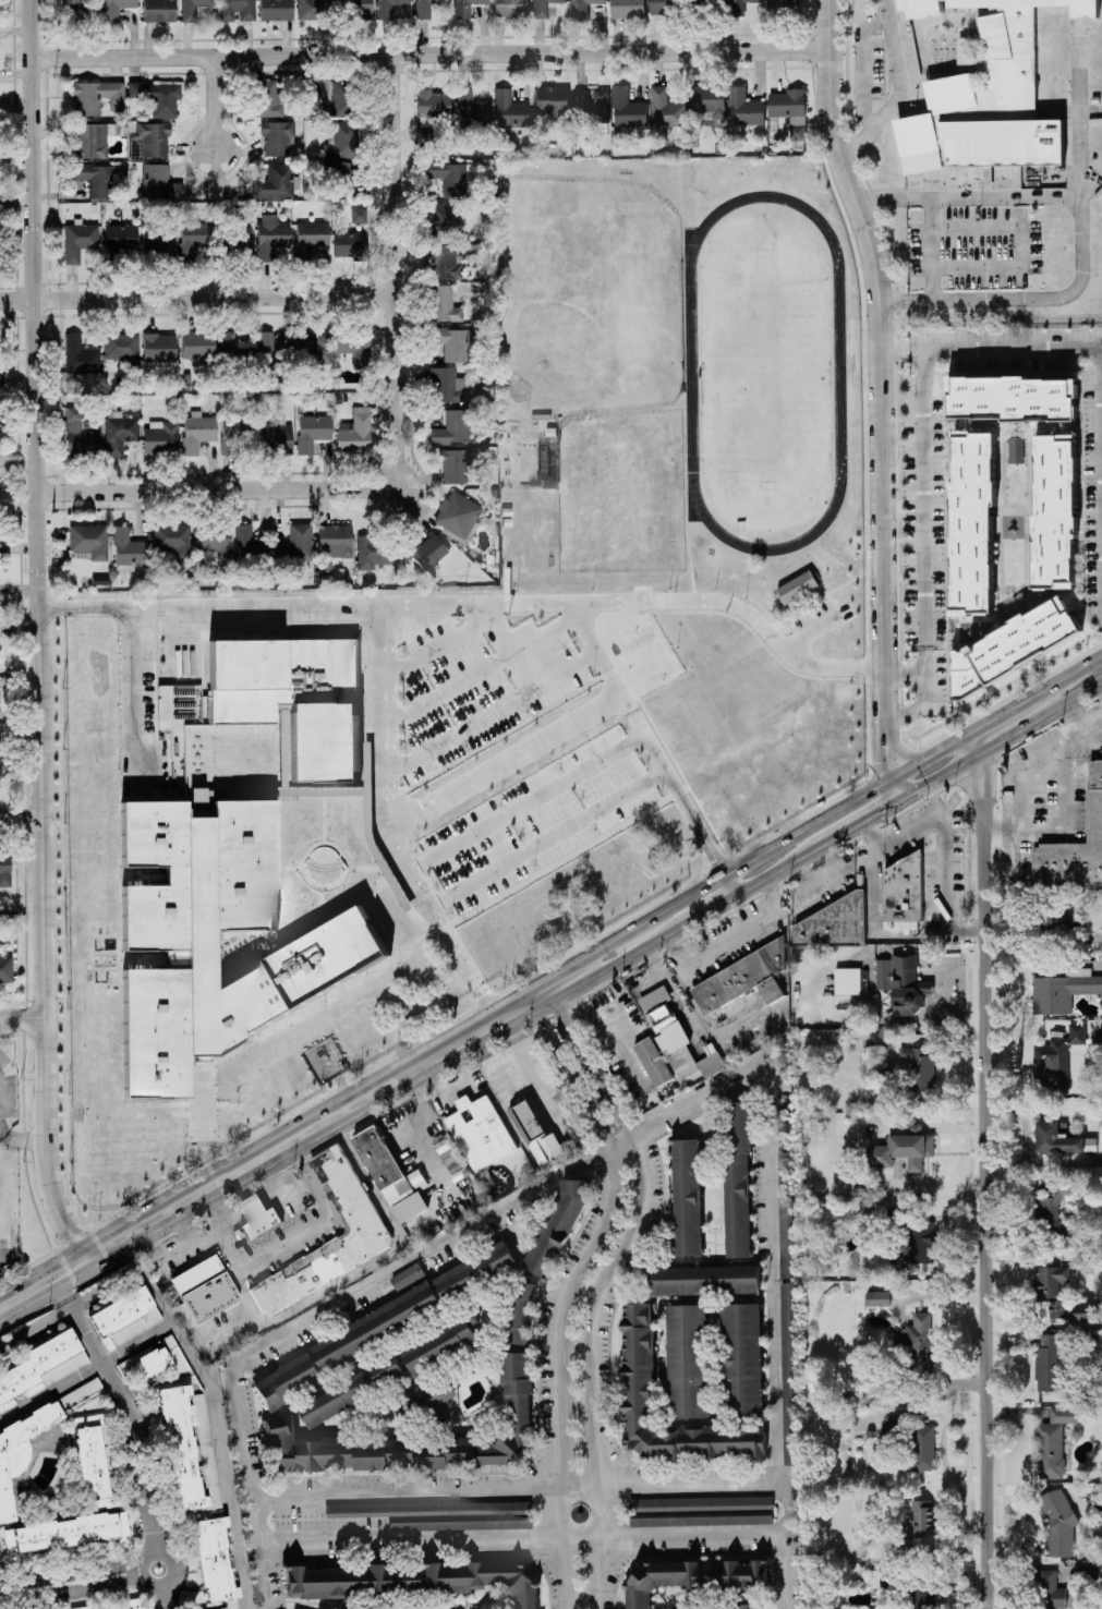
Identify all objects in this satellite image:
building: (712, 0)
building: (784, 4)
building: (465, 7)
building: (582, 7)
building: (661, 7)
building: (736, 7)
building: (359, 8)
building: (387, 8)
building: (426, 8)
building: (510, 8)
building: (542, 8)
building: (627, 8)
building: (116, 9)
building: (193, 9)
building: (314, 9)
building: (70, 10)
building: (159, 10)
building: (237, 10)
building: (275, 10)
building: (965, 50)
road: (428, 52)
road: (859, 64)
road: (896, 89)
building: (988, 95)
building: (157, 96)
building: (267, 97)
building: (335, 97)
building: (709, 98)
building: (552, 100)
building: (432, 102)
building: (592, 102)
road: (216, 104)
building: (744, 107)
building: (628, 108)
building: (665, 108)
building: (471, 109)
building: (510, 109)
building: (789, 109)
road: (1071, 111)
building: (424, 128)
building: (277, 137)
building: (154, 138)
building: (92, 140)
building: (341, 141)
building: (339, 167)
building: (449, 177)
building: (95, 179)
building: (159, 182)
building: (276, 182)
building: (348, 189)
road: (964, 197)
building: (359, 215)
building: (441, 221)
building: (313, 234)
building: (121, 235)
building: (271, 235)
building: (192, 238)
building: (78, 240)
building: (242, 241)
building: (350, 242)
building: (159, 245)
road: (929, 249)
road: (1018, 249)
road: (1077, 250)
building: (445, 262)
road: (393, 269)
road: (196, 295)
park: (585, 295)
building: (443, 303)
building: (452, 343)
building: (121, 346)
building: (197, 346)
building: (254, 346)
building: (354, 346)
building: (159, 347)
building: (313, 347)
road: (991, 348)
building: (81, 355)
track: (836, 370)
park: (762, 372)
building: (448, 385)
road: (881, 397)
building: (1012, 397)
building: (452, 427)
building: (197, 431)
building: (312, 431)
building: (80, 432)
building: (119, 432)
building: (355, 432)
building: (237, 435)
building: (160, 436)
building: (276, 437)
building: (1015, 448)
building: (457, 464)
road: (217, 489)
road: (923, 509)
building: (1054, 511)
building: (458, 513)
building: (972, 521)
building: (172, 539)
building: (335, 540)
building: (89, 541)
building: (214, 541)
building: (247, 542)
building: (296, 543)
building: (128, 549)
building: (375, 551)
building: (426, 551)
building: (797, 585)
road: (473, 602)
road: (812, 628)
road: (40, 631)
building: (1013, 645)
road: (1075, 667)
road: (482, 669)
road: (904, 670)
road: (133, 693)
building: (293, 699)
road: (920, 705)
road: (492, 707)
road: (1006, 707)
road: (386, 714)
road: (1098, 733)
road: (644, 737)
road: (1003, 740)
traffic signals: (925, 755)
traffic signals: (886, 759)
road: (504, 760)
road: (1066, 797)
road: (525, 800)
building: (197, 801)
traffic signals: (877, 813)
road: (22, 818)
road: (855, 826)
road: (390, 834)
road: (945, 838)
road: (547, 839)
road: (771, 845)
building: (1075, 848)
building: (4, 870)
road: (728, 884)
building: (900, 895)
road: (695, 916)
building: (832, 922)
building: (1061, 922)
road: (873, 929)
road: (445, 930)
road: (730, 940)
building: (168, 943)
building: (5, 968)
building: (899, 977)
building: (846, 979)
building: (743, 981)
building: (1063, 989)
road: (23, 1016)
building: (1097, 1032)
building: (676, 1036)
building: (877, 1039)
road: (458, 1040)
building: (1055, 1060)
building: (653, 1061)
road: (586, 1062)
building: (919, 1066)
road: (569, 1073)
road: (310, 1126)
building: (535, 1129)
road: (1, 1134)
building: (477, 1134)
road: (25, 1137)
building: (1061, 1138)
building: (901, 1149)
road: (247, 1161)
building: (380, 1166)
road: (981, 1168)
building: (737, 1178)
building: (857, 1189)
building: (344, 1194)
road: (191, 1195)
building: (687, 1196)
road: (220, 1207)
building: (408, 1208)
building: (785, 1210)
building: (1052, 1210)
road: (159, 1213)
building: (253, 1217)
road: (325, 1220)
road: (185, 1223)
building: (558, 1223)
road: (208, 1235)
road: (113, 1238)
building: (918, 1241)
road: (443, 1242)
road: (231, 1247)
road: (161, 1257)
road: (367, 1265)
road: (238, 1269)
building: (474, 1269)
building: (407, 1275)
building: (703, 1279)
road: (41, 1281)
building: (1051, 1287)
building: (201, 1289)
building: (877, 1296)
building: (1082, 1310)
building: (521, 1311)
building: (121, 1318)
road: (34, 1330)
road: (777, 1338)
building: (920, 1341)
building: (443, 1343)
building: (339, 1347)
road: (574, 1347)
building: (638, 1357)
building: (742, 1358)
building: (687, 1359)
building: (146, 1362)
building: (1047, 1364)
building: (44, 1365)
road: (591, 1365)
road: (85, 1368)
road: (558, 1369)
building: (787, 1371)
road: (213, 1388)
building: (351, 1390)
building: (436, 1394)
road: (122, 1404)
building: (885, 1426)
building: (411, 1438)
building: (1054, 1440)
building: (189, 1448)
building: (921, 1448)
building: (21, 1451)
building: (93, 1461)
road: (517, 1489)
building: (700, 1510)
building: (440, 1514)
building: (922, 1516)
building: (1058, 1524)
building: (66, 1533)
road: (521, 1538)
road: (156, 1549)
road: (261, 1551)
building: (215, 1562)
building: (692, 1576)
building: (877, 1577)
road: (71, 1580)
building: (350, 1580)
building: (483, 1580)
building: (1052, 1590)
road: (162, 1596)
building: (928, 1598)
road: (1, 1600)
building: (135, 1602)
building: (483, 1606)
building: (752, 1606)

